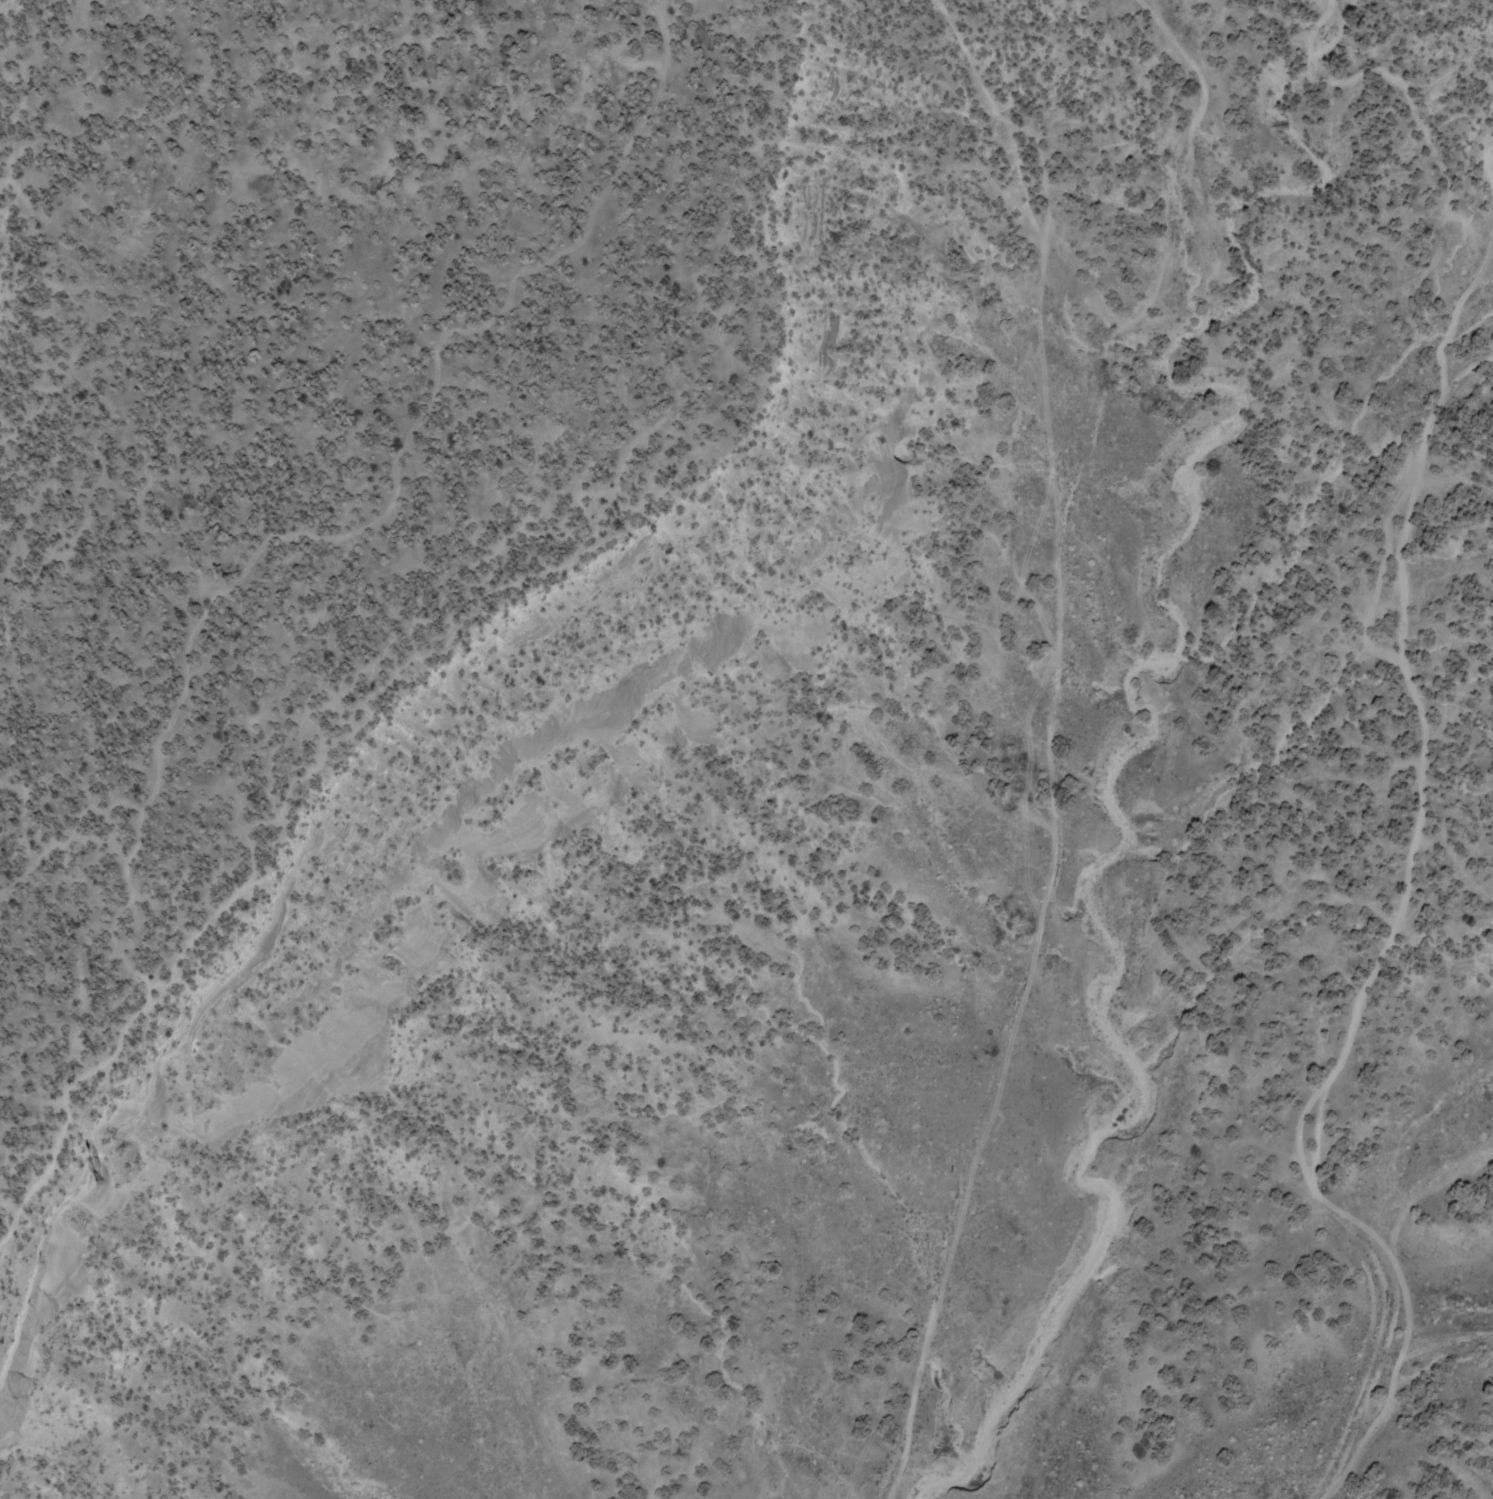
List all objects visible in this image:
road: (94, 14)
road: (216, 633)
road: (1048, 740)
road: (1400, 910)

